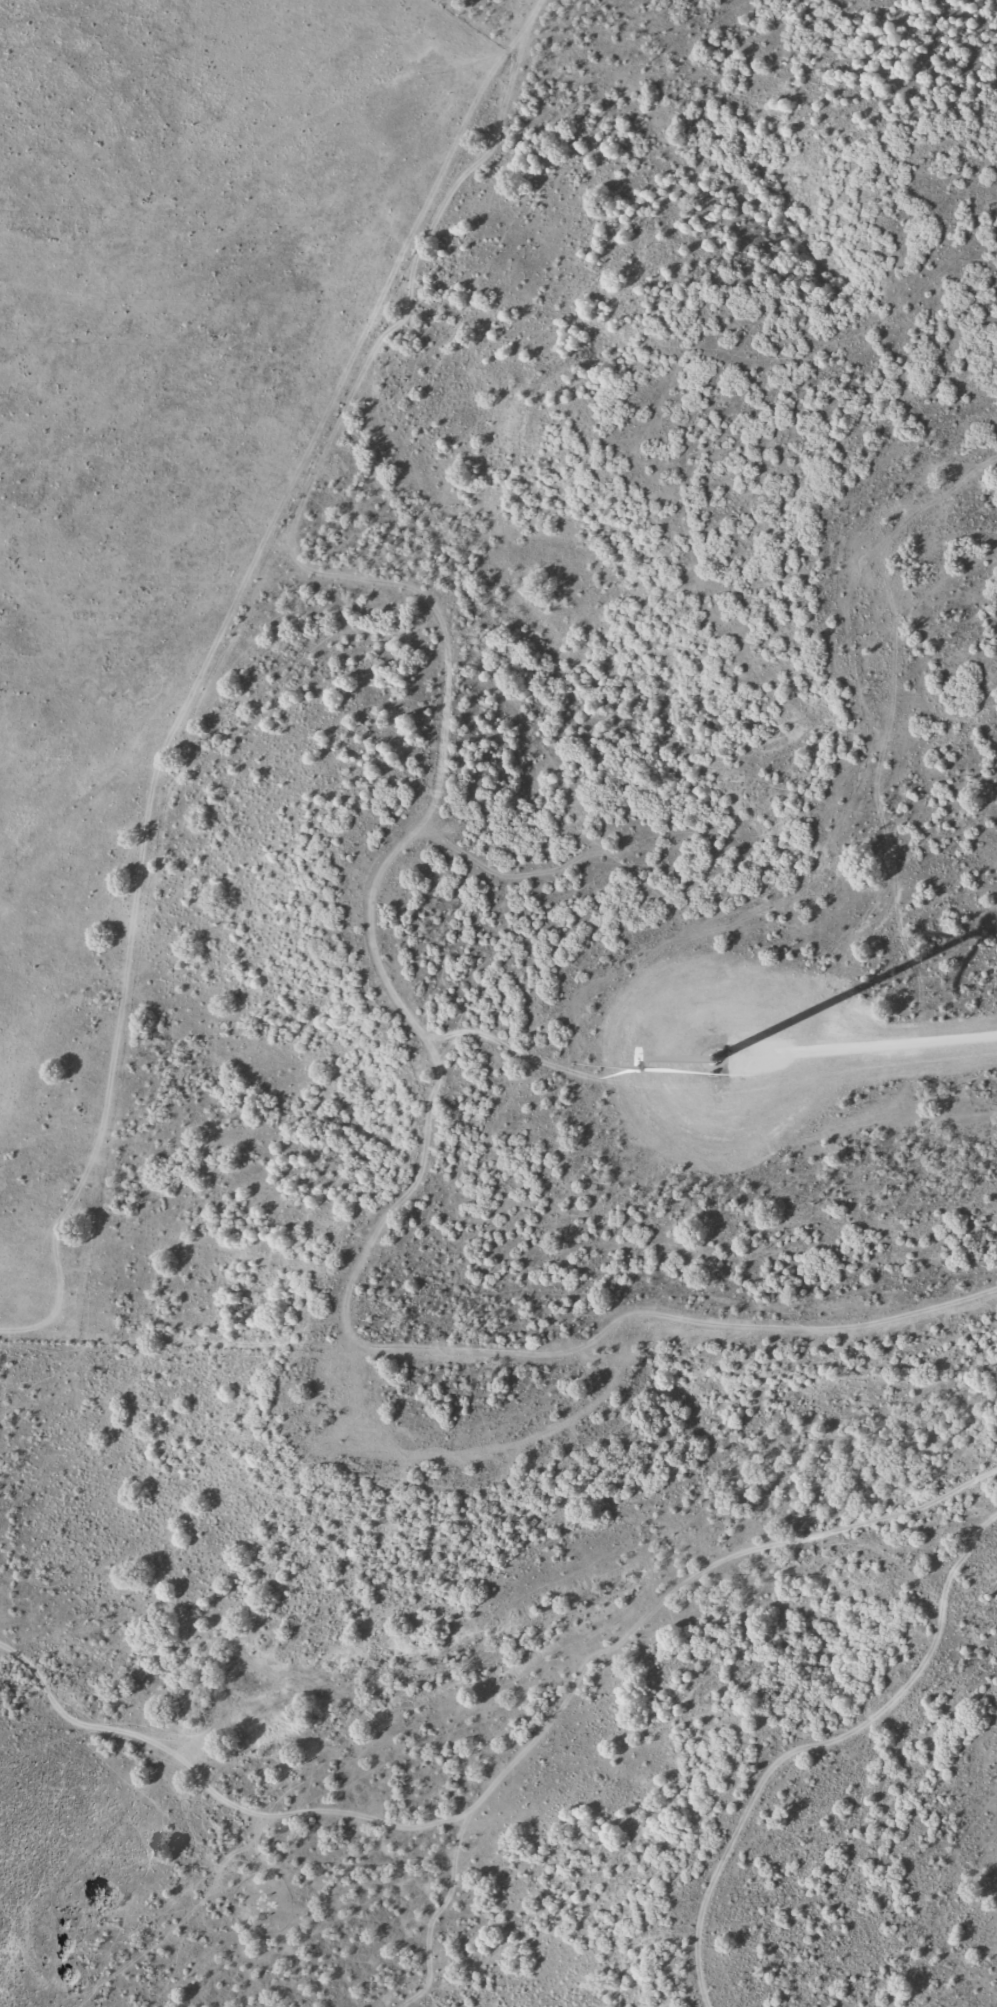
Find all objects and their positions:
wind turbine: (712, 1060)

